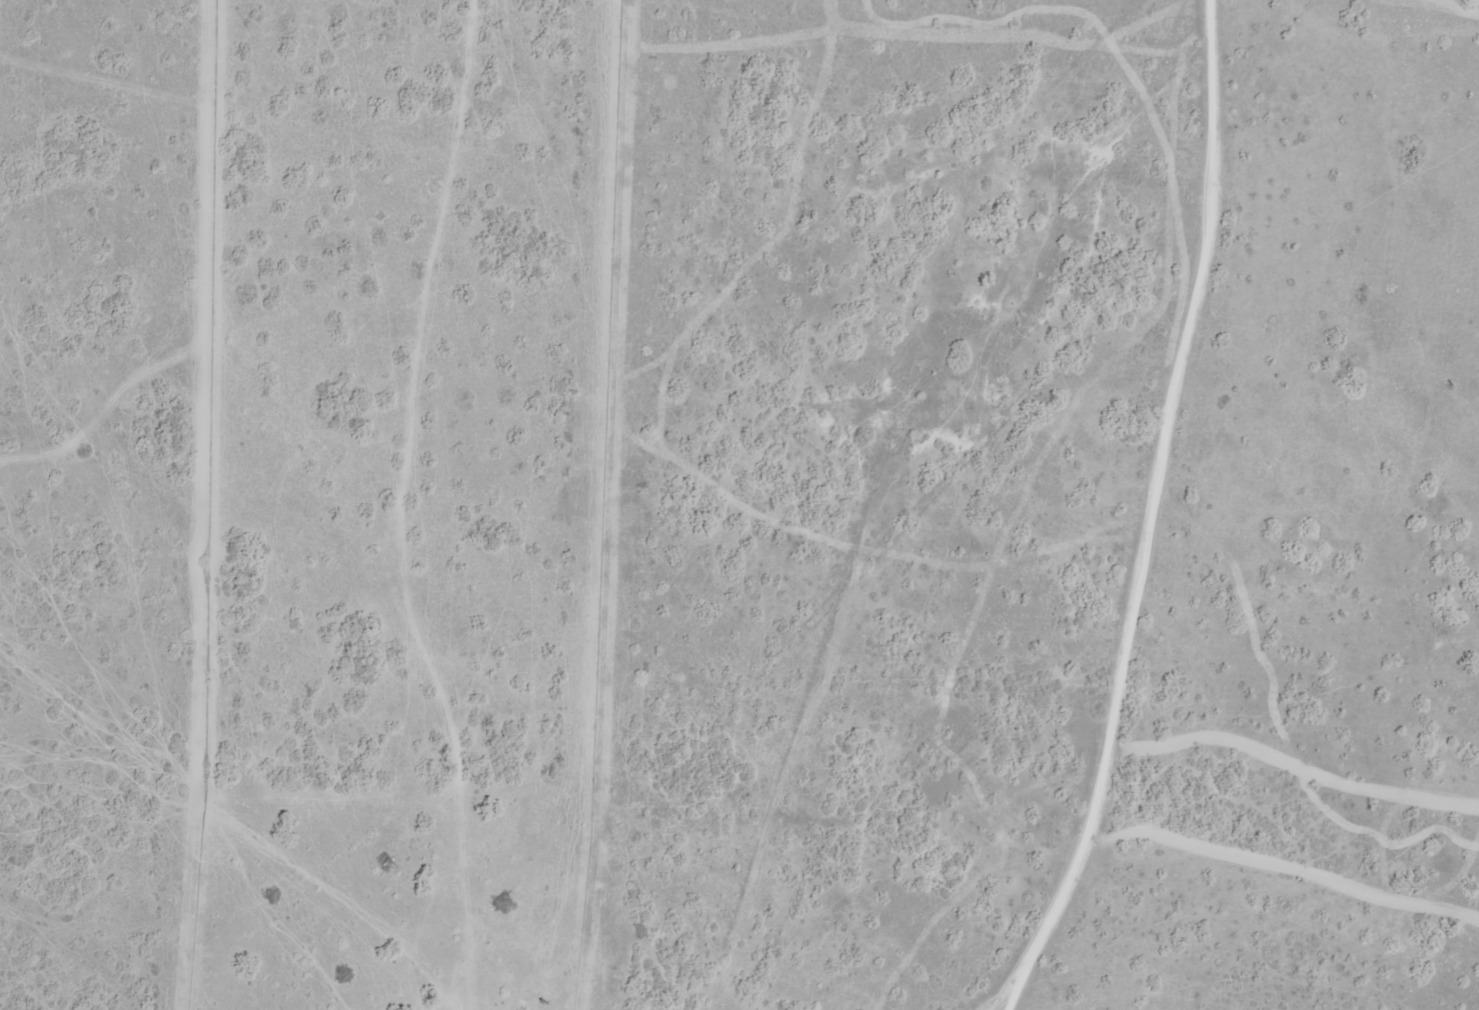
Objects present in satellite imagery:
road: (1176, 519)

